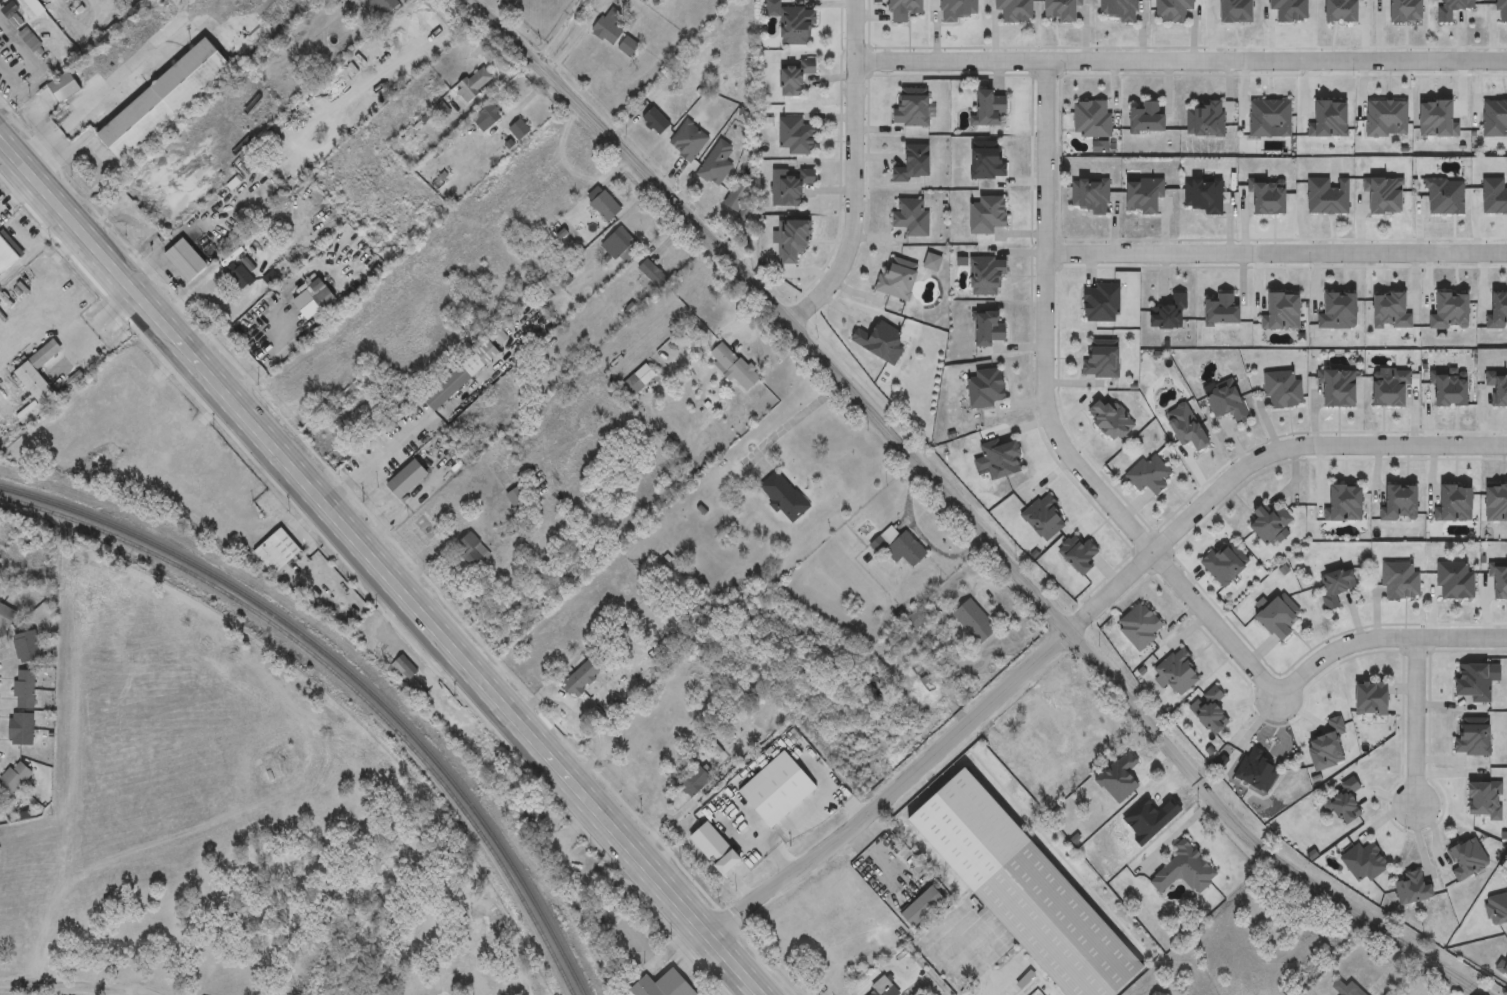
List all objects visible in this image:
building: (387, 5)
building: (33, 7)
building: (1454, 9)
building: (903, 10)
building: (1120, 10)
building: (1290, 10)
building: (957, 11)
building: (1015, 11)
building: (1064, 11)
building: (1174, 11)
building: (1238, 11)
building: (1502, 11)
building: (10, 16)
building: (794, 22)
building: (609, 27)
road: (559, 32)
building: (629, 47)
road: (1179, 62)
road: (35, 68)
building: (445, 72)
building: (795, 77)
building: (474, 85)
building: (64, 88)
building: (163, 100)
building: (912, 109)
building: (991, 110)
building: (1149, 116)
building: (488, 118)
building: (1495, 119)
building: (1093, 120)
building: (1206, 120)
building: (1270, 120)
building: (1332, 120)
building: (657, 121)
building: (520, 131)
building: (796, 137)
building: (689, 141)
road: (41, 147)
building: (988, 161)
building: (719, 163)
building: (914, 164)
road: (851, 172)
building: (372, 185)
building: (796, 188)
building: (1091, 197)
building: (1145, 197)
building: (1205, 197)
building: (1270, 197)
building: (1329, 197)
building: (1496, 197)
building: (1447, 198)
building: (604, 205)
building: (988, 216)
building: (912, 217)
road: (33, 247)
building: (622, 247)
building: (6, 256)
road: (1276, 257)
building: (186, 261)
building: (653, 275)
building: (987, 278)
building: (898, 281)
building: (322, 296)
building: (1102, 304)
building: (1224, 311)
building: (1499, 311)
building: (1170, 315)
building: (989, 330)
building: (879, 340)
road: (703, 343)
road: (278, 355)
building: (1102, 361)
building: (735, 367)
building: (37, 375)
building: (461, 377)
road: (485, 378)
building: (638, 383)
building: (1499, 385)
building: (1339, 386)
building: (1452, 387)
building: (988, 389)
building: (1392, 389)
building: (1283, 390)
building: (1227, 402)
road: (1049, 422)
road: (795, 424)
road: (379, 457)
building: (1003, 458)
building: (1150, 475)
building: (407, 481)
building: (784, 496)
building: (519, 500)
building: (1347, 503)
building: (1400, 503)
building: (1456, 503)
road: (966, 516)
building: (1046, 518)
building: (1270, 523)
road: (921, 535)
building: (902, 547)
building: (276, 552)
building: (471, 552)
building: (1079, 554)
building: (1224, 565)
road: (380, 567)
building: (1401, 581)
building: (1456, 581)
building: (1336, 586)
building: (5, 618)
building: (1278, 618)
road: (1081, 621)
building: (974, 622)
building: (1140, 626)
road: (1382, 640)
building: (26, 648)
building: (403, 669)
building: (1179, 671)
railway: (349, 674)
building: (581, 679)
railway: (342, 680)
building: (1475, 681)
building: (25, 690)
building: (1373, 698)
building: (1211, 712)
road: (1415, 723)
building: (21, 729)
building: (1474, 737)
building: (1258, 770)
building: (13, 780)
building: (694, 782)
road: (848, 802)
building: (1346, 802)
road: (673, 817)
building: (727, 819)
road: (785, 829)
building: (703, 838)
building: (765, 858)
building: (1365, 861)
building: (1184, 871)
building: (749, 880)
building: (1415, 888)
building: (923, 906)
building: (820, 944)
road: (984, 972)
road: (70, 986)
building: (661, 986)
building: (883, 988)
building: (1347, 988)

